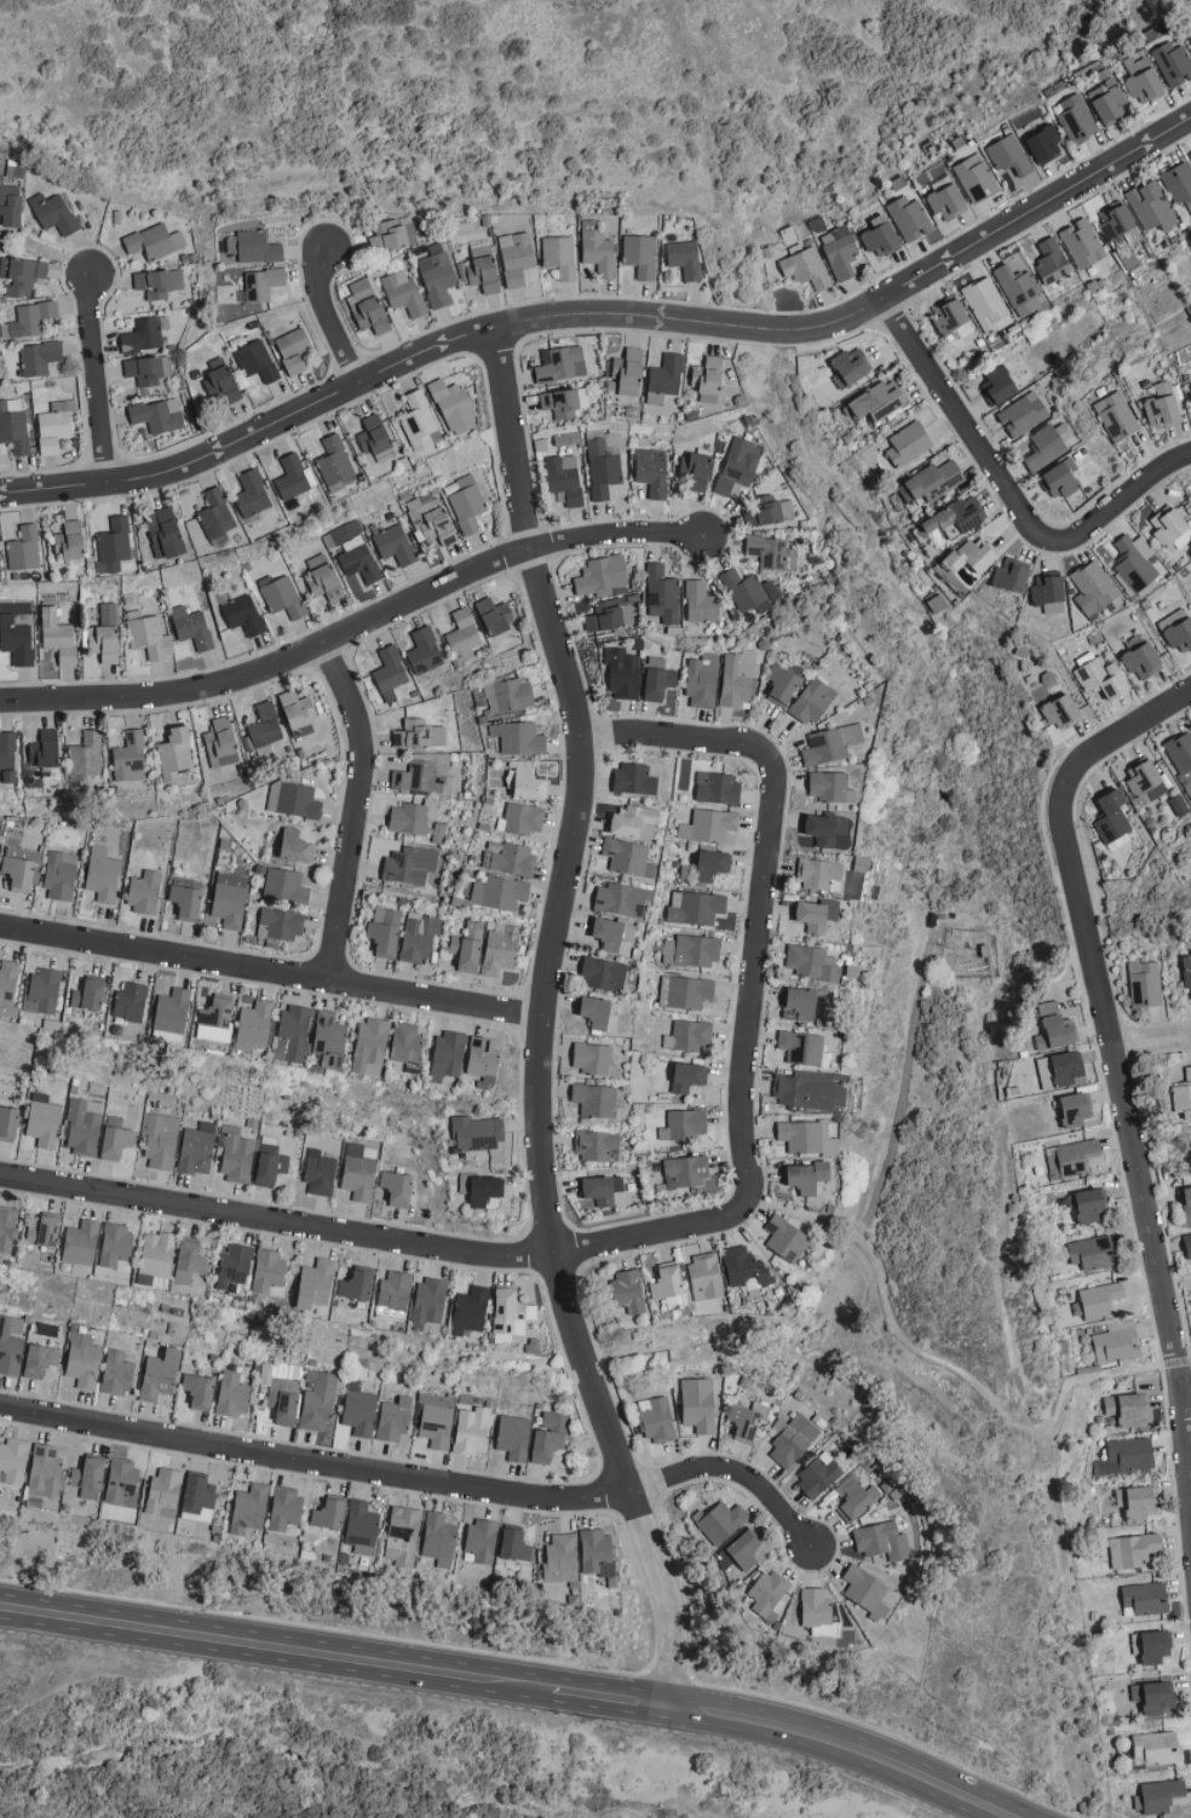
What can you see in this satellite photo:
building: (1189, 35)
building: (1173, 64)
building: (1143, 80)
building: (1109, 100)
building: (1077, 117)
building: (1045, 144)
building: (1190, 154)
building: (1008, 155)
building: (974, 178)
building: (1178, 184)
building: (948, 202)
building: (10, 205)
building: (1150, 207)
building: (53, 213)
building: (908, 218)
building: (392, 234)
building: (880, 237)
building: (155, 241)
building: (1082, 243)
building: (254, 247)
building: (597, 249)
building: (839, 252)
building: (559, 255)
building: (639, 255)
building: (516, 258)
building: (684, 259)
building: (1052, 261)
building: (805, 267)
building: (481, 269)
building: (22, 275)
building: (436, 275)
building: (159, 283)
building: (263, 284)
building: (402, 292)
building: (1020, 292)
building: (986, 305)
building: (367, 306)
road: (608, 315)
road: (333, 316)
building: (31, 318)
building: (950, 318)
building: (142, 335)
building: (293, 350)
building: (39, 358)
building: (255, 362)
building: (560, 364)
building: (850, 368)
building: (148, 370)
building: (628, 372)
road: (103, 379)
building: (664, 379)
building: (708, 379)
building: (221, 382)
building: (1000, 385)
building: (879, 401)
building: (564, 402)
building: (455, 407)
building: (1162, 407)
building: (1023, 414)
building: (157, 415)
building: (1116, 418)
building: (418, 421)
building: (13, 426)
building: (54, 426)
building: (375, 437)
building: (908, 444)
building: (1045, 448)
building: (335, 465)
building: (738, 465)
building: (600, 468)
building: (696, 471)
building: (651, 473)
building: (292, 478)
building: (564, 479)
building: (1061, 481)
building: (932, 482)
road: (1009, 485)
building: (252, 494)
building: (465, 504)
building: (770, 513)
building: (215, 517)
building: (957, 518)
building: (432, 523)
building: (1169, 527)
building: (165, 533)
building: (343, 534)
building: (69, 540)
building: (395, 545)
building: (113, 546)
building: (23, 550)
building: (771, 553)
building: (973, 556)
building: (359, 563)
building: (1134, 563)
building: (602, 575)
building: (1012, 575)
building: (324, 579)
building: (1092, 588)
building: (743, 589)
building: (1048, 589)
building: (662, 593)
building: (282, 596)
building: (701, 602)
building: (243, 615)
building: (495, 616)
building: (608, 616)
building: (194, 629)
road: (359, 629)
building: (1178, 631)
building: (105, 634)
building: (148, 635)
building: (462, 635)
building: (58, 637)
building: (16, 640)
building: (424, 650)
building: (1141, 657)
building: (390, 672)
building: (623, 672)
building: (737, 677)
building: (658, 678)
building: (1101, 679)
building: (703, 680)
building: (782, 684)
building: (507, 694)
building: (813, 700)
building: (298, 708)
building: (1061, 710)
building: (264, 725)
building: (419, 733)
building: (518, 737)
road: (680, 741)
building: (221, 742)
building: (830, 743)
building: (45, 748)
building: (174, 752)
building: (86, 754)
building: (7, 755)
building: (130, 756)
building: (424, 772)
building: (634, 778)
building: (1144, 778)
building: (529, 783)
building: (718, 787)
building: (830, 787)
building: (293, 799)
road: (361, 810)
building: (1106, 813)
building: (413, 816)
building: (522, 818)
building: (633, 821)
building: (708, 824)
building: (830, 830)
building: (294, 845)
building: (628, 856)
building: (510, 858)
building: (410, 864)
building: (708, 865)
building: (19, 868)
building: (818, 873)
building: (102, 874)
building: (59, 875)
building: (286, 886)
building: (144, 891)
building: (500, 892)
building: (186, 897)
building: (229, 898)
building: (621, 898)
building: (696, 907)
building: (817, 913)
building: (283, 921)
building: (385, 931)
building: (615, 934)
building: (418, 937)
building: (467, 945)
building: (692, 950)
building: (811, 962)
road: (272, 971)
building: (1183, 972)
building: (603, 973)
building: (1143, 984)
road: (754, 986)
building: (7, 988)
building: (42, 989)
building: (685, 990)
building: (88, 994)
building: (130, 1001)
building: (801, 1002)
building: (172, 1011)
building: (599, 1012)
building: (217, 1018)
road: (545, 1023)
building: (254, 1026)
building: (1054, 1028)
building: (293, 1032)
road: (1111, 1032)
building: (689, 1035)
building: (329, 1039)
road: (1152, 1042)
building: (369, 1046)
building: (405, 1046)
building: (801, 1047)
building: (447, 1054)
building: (593, 1058)
building: (483, 1060)
building: (1068, 1068)
building: (689, 1076)
building: (807, 1092)
building: (1181, 1095)
building: (597, 1100)
building: (1076, 1109)
building: (44, 1120)
building: (8, 1122)
building: (685, 1123)
building: (82, 1127)
building: (481, 1135)
building: (806, 1138)
building: (116, 1139)
building: (161, 1141)
building: (595, 1145)
building: (197, 1149)
building: (236, 1153)
building: (1072, 1156)
building: (271, 1164)
building: (359, 1170)
building: (320, 1172)
building: (685, 1172)
building: (398, 1187)
building: (602, 1189)
building: (483, 1190)
building: (1183, 1202)
building: (1089, 1203)
building: (7, 1227)
building: (45, 1231)
road: (372, 1238)
building: (787, 1238)
building: (81, 1242)
building: (1185, 1245)
building: (117, 1247)
building: (1093, 1252)
building: (157, 1259)
building: (190, 1261)
building: (235, 1265)
building: (746, 1268)
building: (269, 1270)
building: (706, 1273)
building: (316, 1283)
building: (357, 1285)
building: (627, 1291)
building: (393, 1296)
building: (430, 1300)
building: (1100, 1300)
building: (471, 1308)
building: (510, 1311)
building: (11, 1344)
building: (1116, 1345)
building: (41, 1360)
building: (84, 1360)
road: (950, 1368)
building: (117, 1373)
building: (160, 1374)
road: (1189, 1382)
building: (200, 1391)
building: (231, 1394)
building: (283, 1404)
building: (698, 1404)
building: (317, 1406)
building: (1127, 1409)
building: (359, 1411)
building: (393, 1419)
building: (435, 1419)
building: (657, 1420)
building: (472, 1429)
building: (548, 1436)
building: (513, 1437)
building: (794, 1440)
building: (1127, 1456)
building: (13, 1460)
building: (45, 1472)
building: (818, 1475)
building: (90, 1478)
road: (419, 1478)
building: (122, 1480)
building: (165, 1492)
building: (853, 1500)
building: (1137, 1502)
building: (249, 1508)
building: (284, 1508)
building: (329, 1514)
building: (721, 1521)
building: (362, 1528)
building: (403, 1535)
building: (438, 1538)
building: (482, 1538)
building: (882, 1541)
building: (516, 1544)
building: (1139, 1549)
building: (741, 1554)
building: (599, 1557)
building: (563, 1558)
building: (867, 1592)
building: (769, 1594)
building: (1145, 1598)
building: (817, 1611)
building: (1152, 1645)
road: (270, 1649)
building: (1153, 1697)
road: (608, 1701)
building: (1157, 1748)
road: (847, 1749)
building: (1160, 1796)

